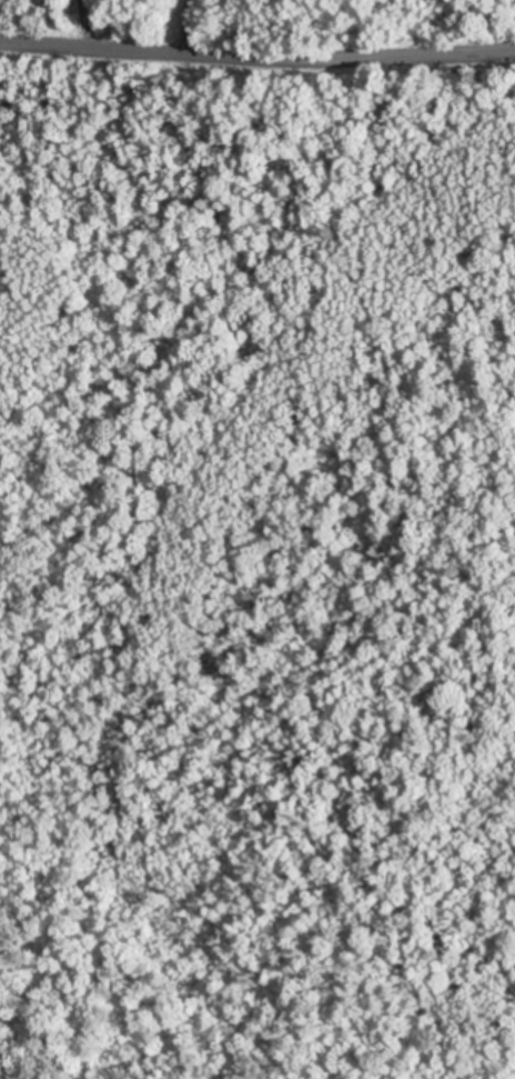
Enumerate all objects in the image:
road: (257, 61)

